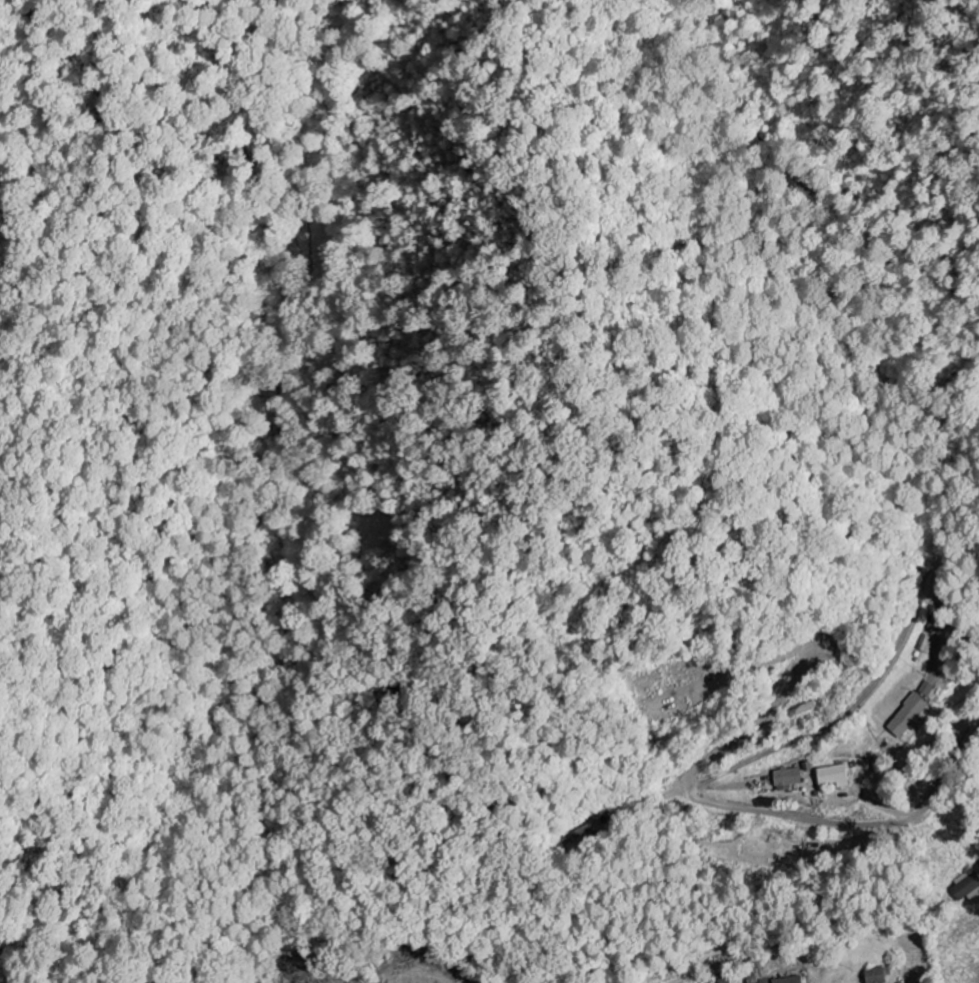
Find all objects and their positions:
building: (927, 689)
building: (910, 716)
building: (835, 776)
building: (788, 779)
building: (586, 835)
building: (974, 868)
building: (966, 887)
building: (877, 974)
building: (789, 980)

